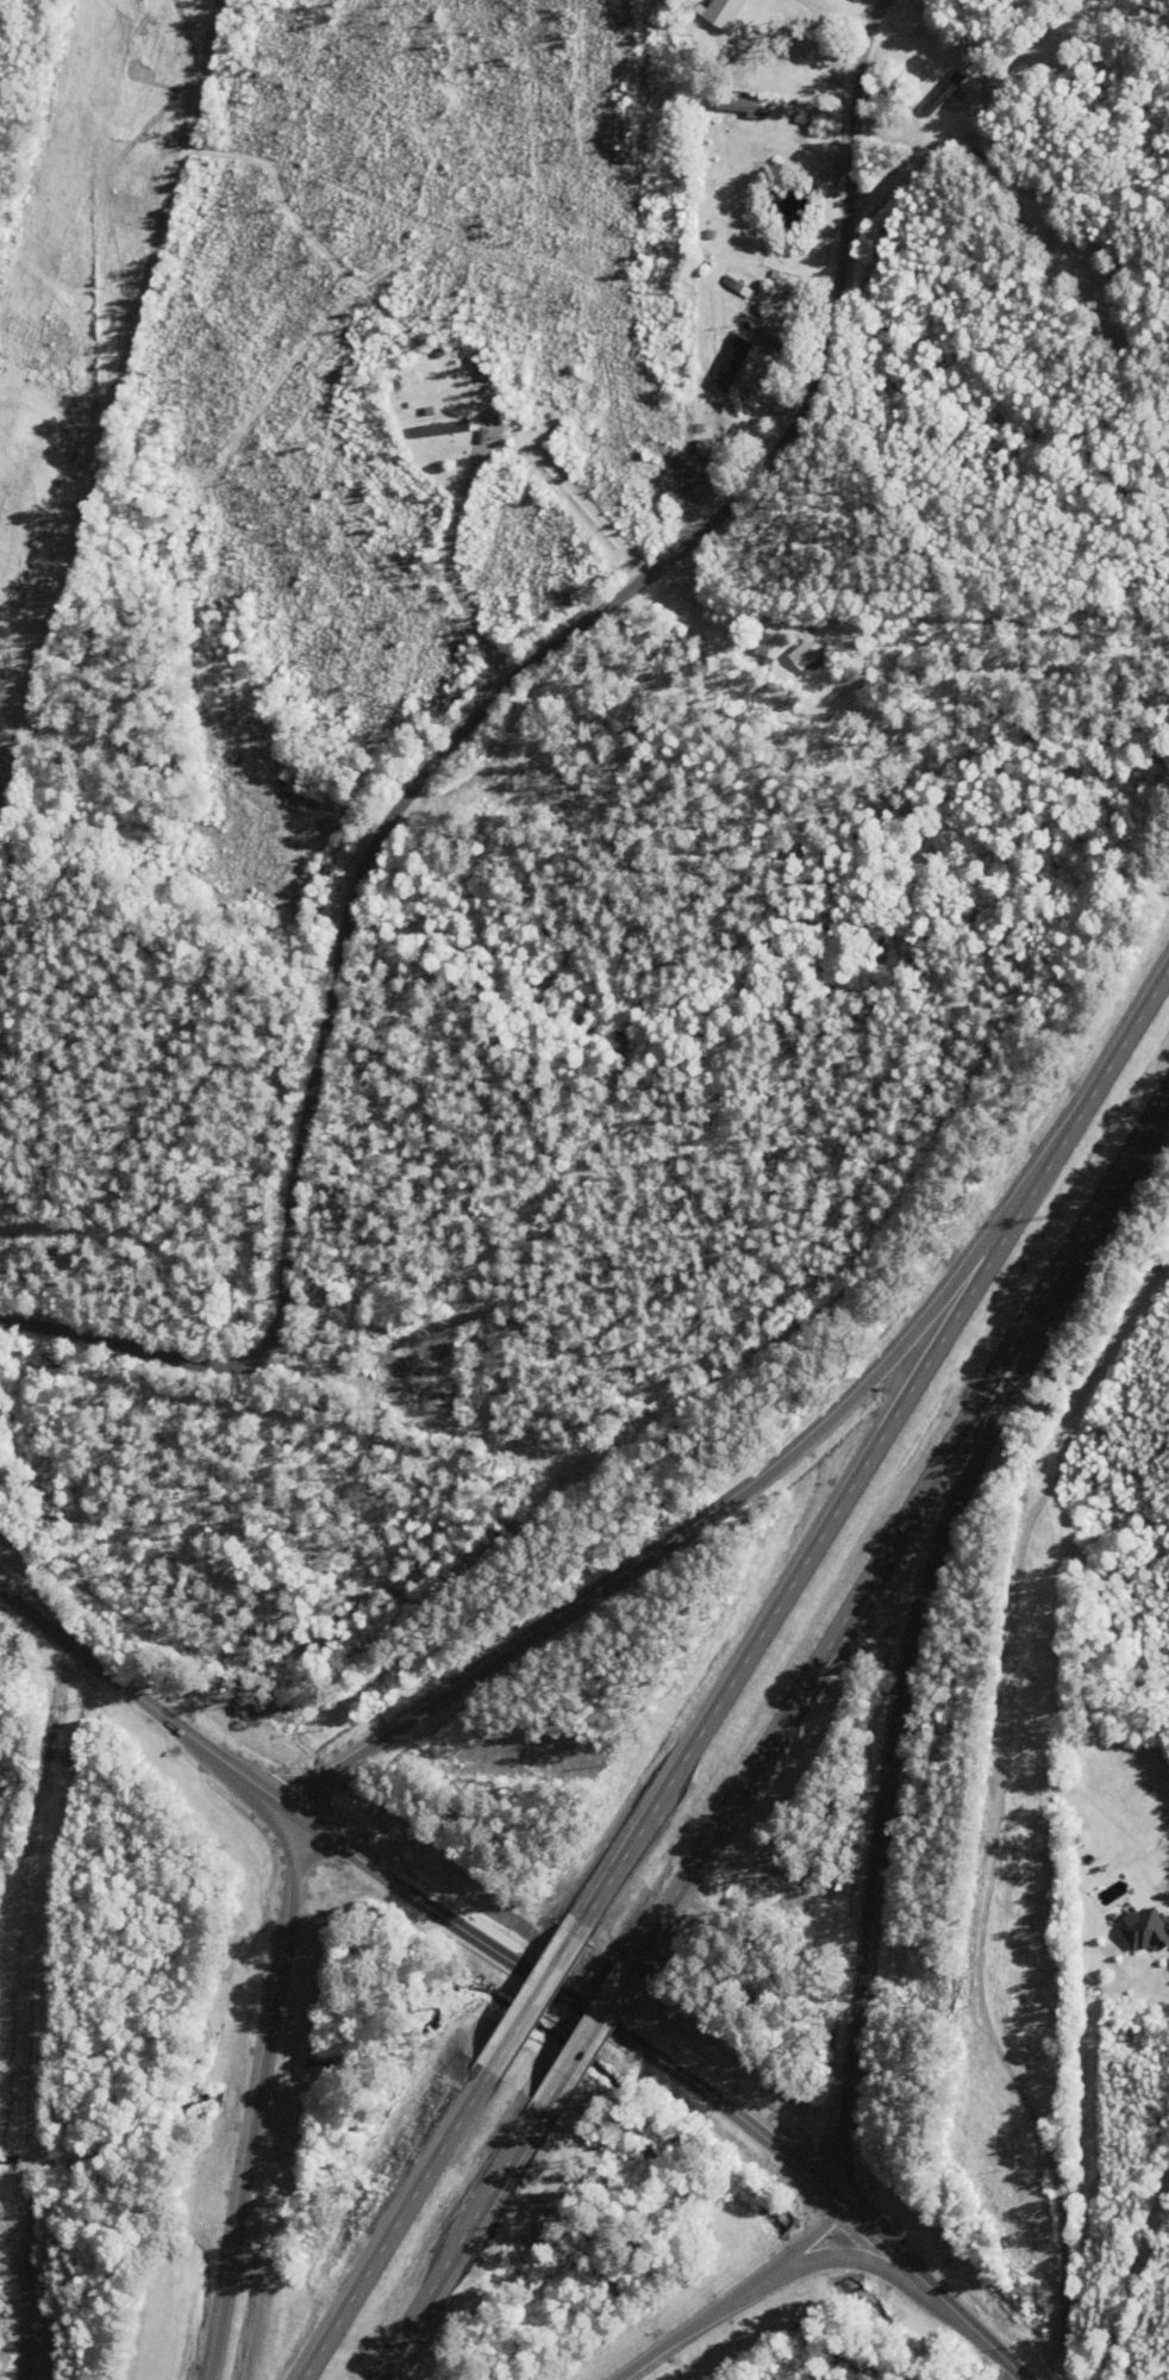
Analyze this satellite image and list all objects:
building: (949, 80)
building: (775, 341)
building: (733, 363)
building: (449, 426)
power tower: (6, 643)
building: (819, 643)
road: (457, 756)
road: (1090, 1095)
road: (900, 1529)
road: (673, 1541)
road: (799, 1572)
road: (901, 1670)
road: (287, 1806)
building: (1145, 1932)
road: (538, 1998)
road: (588, 2036)
road: (260, 2101)
road: (818, 2182)
road: (398, 2226)
road: (809, 2237)
road: (461, 2242)
road: (848, 2258)
road: (695, 2323)

